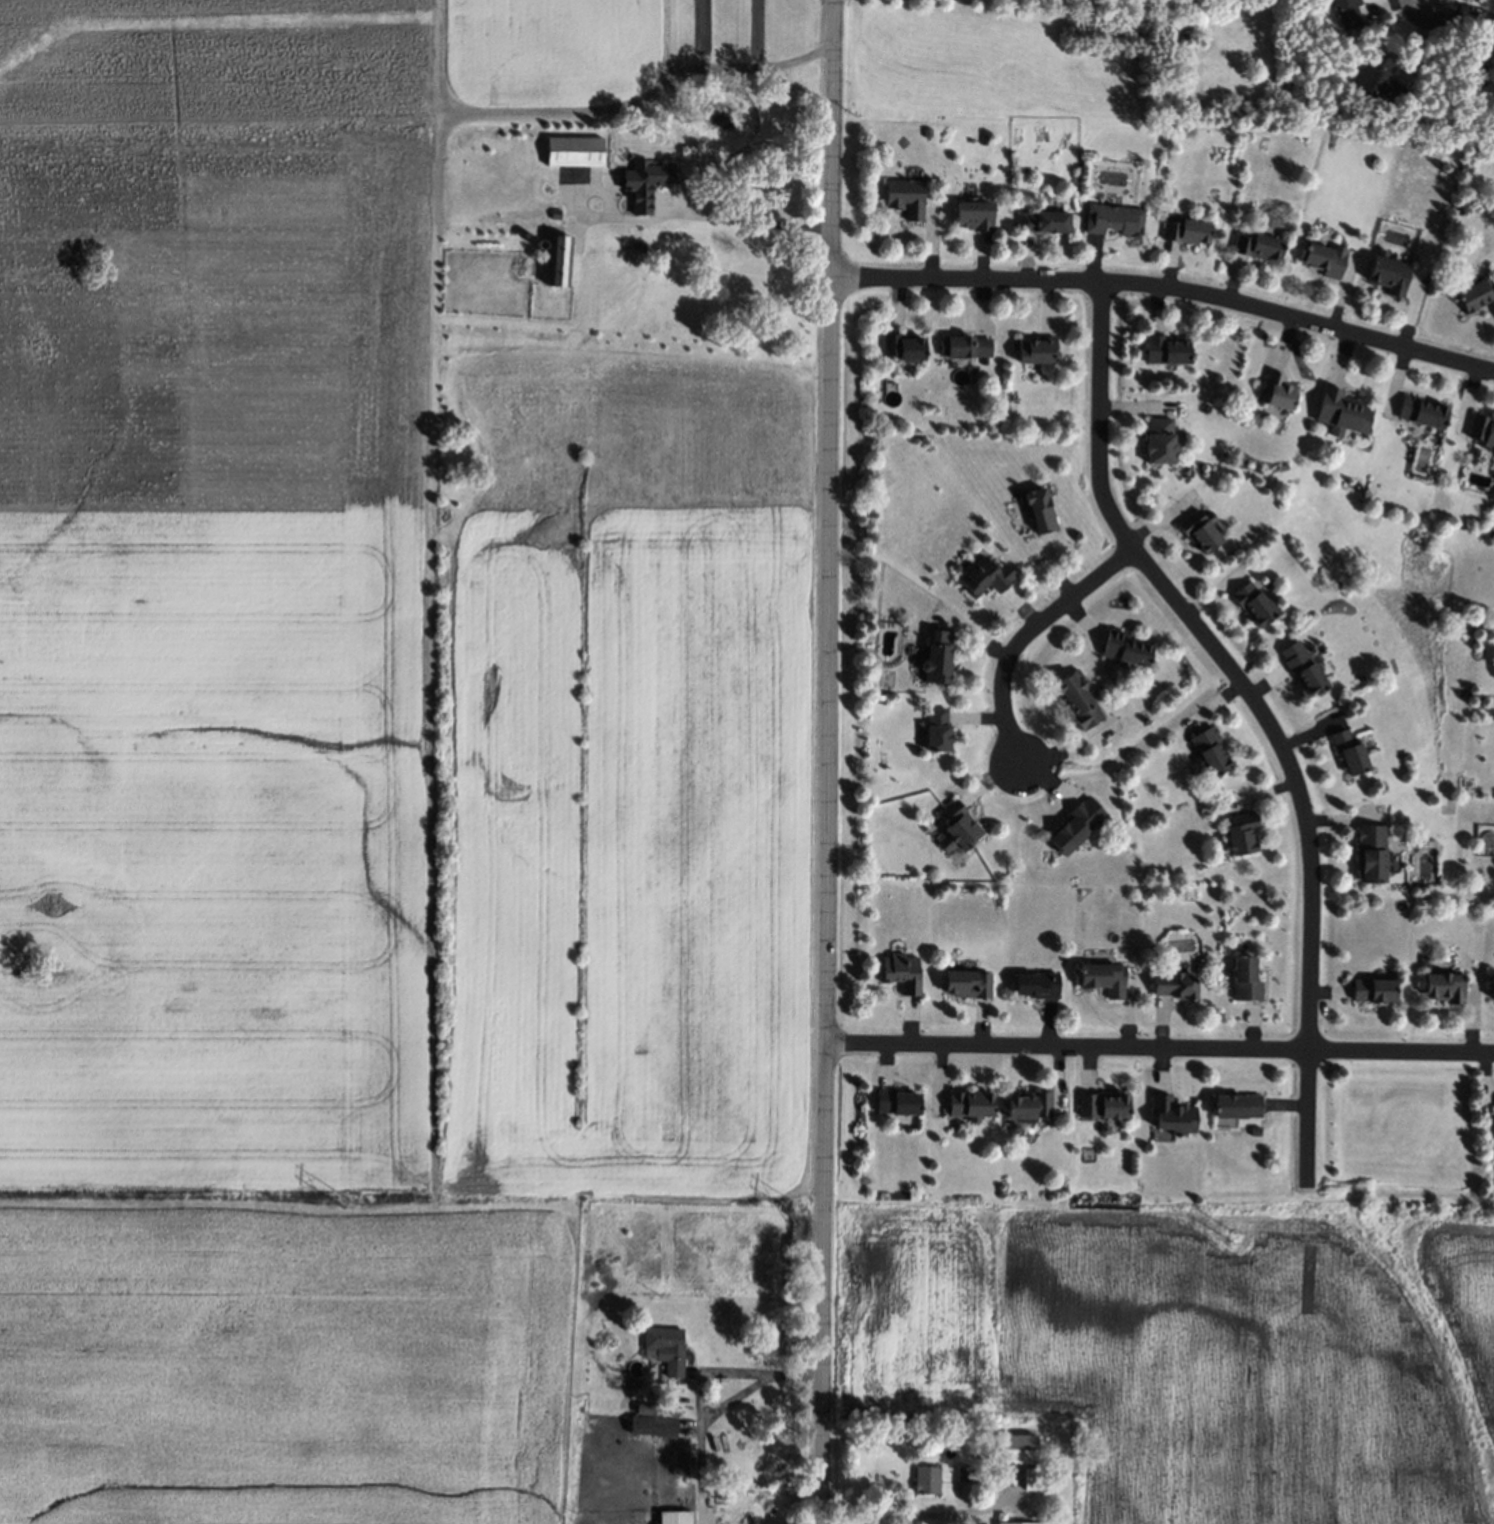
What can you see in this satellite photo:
road: (1130, 1)
road: (1423, 3)
building: (1347, 12)
building: (1491, 35)
building: (1479, 58)
building: (1379, 82)
road: (558, 99)
building: (573, 152)
building: (647, 182)
building: (546, 189)
building: (906, 199)
building: (973, 215)
building: (554, 216)
road: (744, 219)
building: (1114, 221)
building: (1043, 222)
building: (1185, 233)
building: (538, 244)
building: (636, 248)
building: (1258, 248)
building: (1324, 261)
building: (560, 262)
building: (1389, 274)
road: (1165, 294)
building: (1474, 296)
building: (965, 347)
building: (905, 349)
building: (1037, 352)
building: (1166, 352)
building: (1278, 392)
building: (1338, 412)
building: (1422, 413)
building: (1482, 428)
building: (1160, 443)
building: (1040, 511)
building: (1200, 532)
building: (983, 578)
building: (1254, 606)
road: (1024, 636)
building: (1124, 651)
building: (938, 658)
building: (1300, 669)
building: (1078, 702)
road: (1260, 712)
building: (937, 732)
building: (1209, 753)
building: (1349, 753)
road: (826, 761)
building: (959, 825)
building: (1076, 827)
building: (1242, 835)
building: (1370, 855)
building: (1099, 976)
building: (897, 978)
building: (1243, 981)
building: (1492, 982)
building: (1173, 983)
building: (966, 985)
building: (1037, 986)
building: (1445, 988)
building: (1373, 991)
road: (1159, 1047)
building: (890, 1104)
building: (1024, 1105)
building: (962, 1107)
building: (1098, 1107)
building: (1236, 1107)
building: (1170, 1115)
building: (1160, 1134)
building: (1493, 1140)
building: (665, 1350)
road: (700, 1388)
road: (734, 1396)
building: (657, 1411)
building: (650, 1426)
building: (1011, 1450)
building: (965, 1477)
building: (1029, 1480)
building: (924, 1481)
building: (673, 1517)
road: (912, 1517)
building: (1000, 1519)
building: (1009, 1523)

